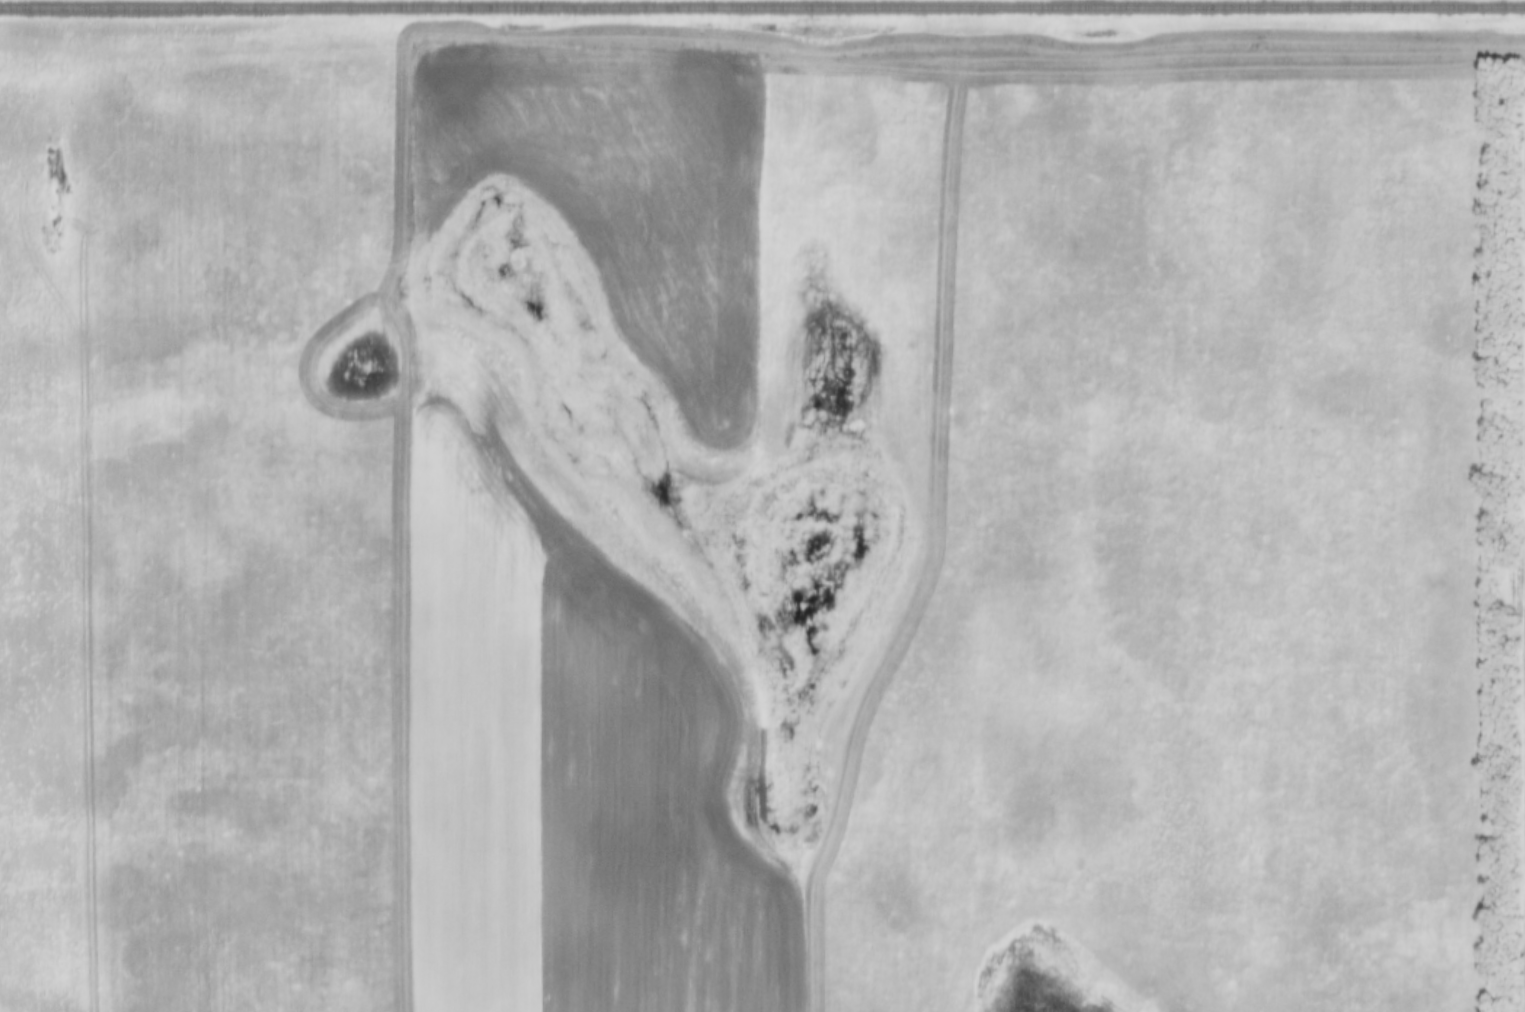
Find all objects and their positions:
railway: (762, 8)

